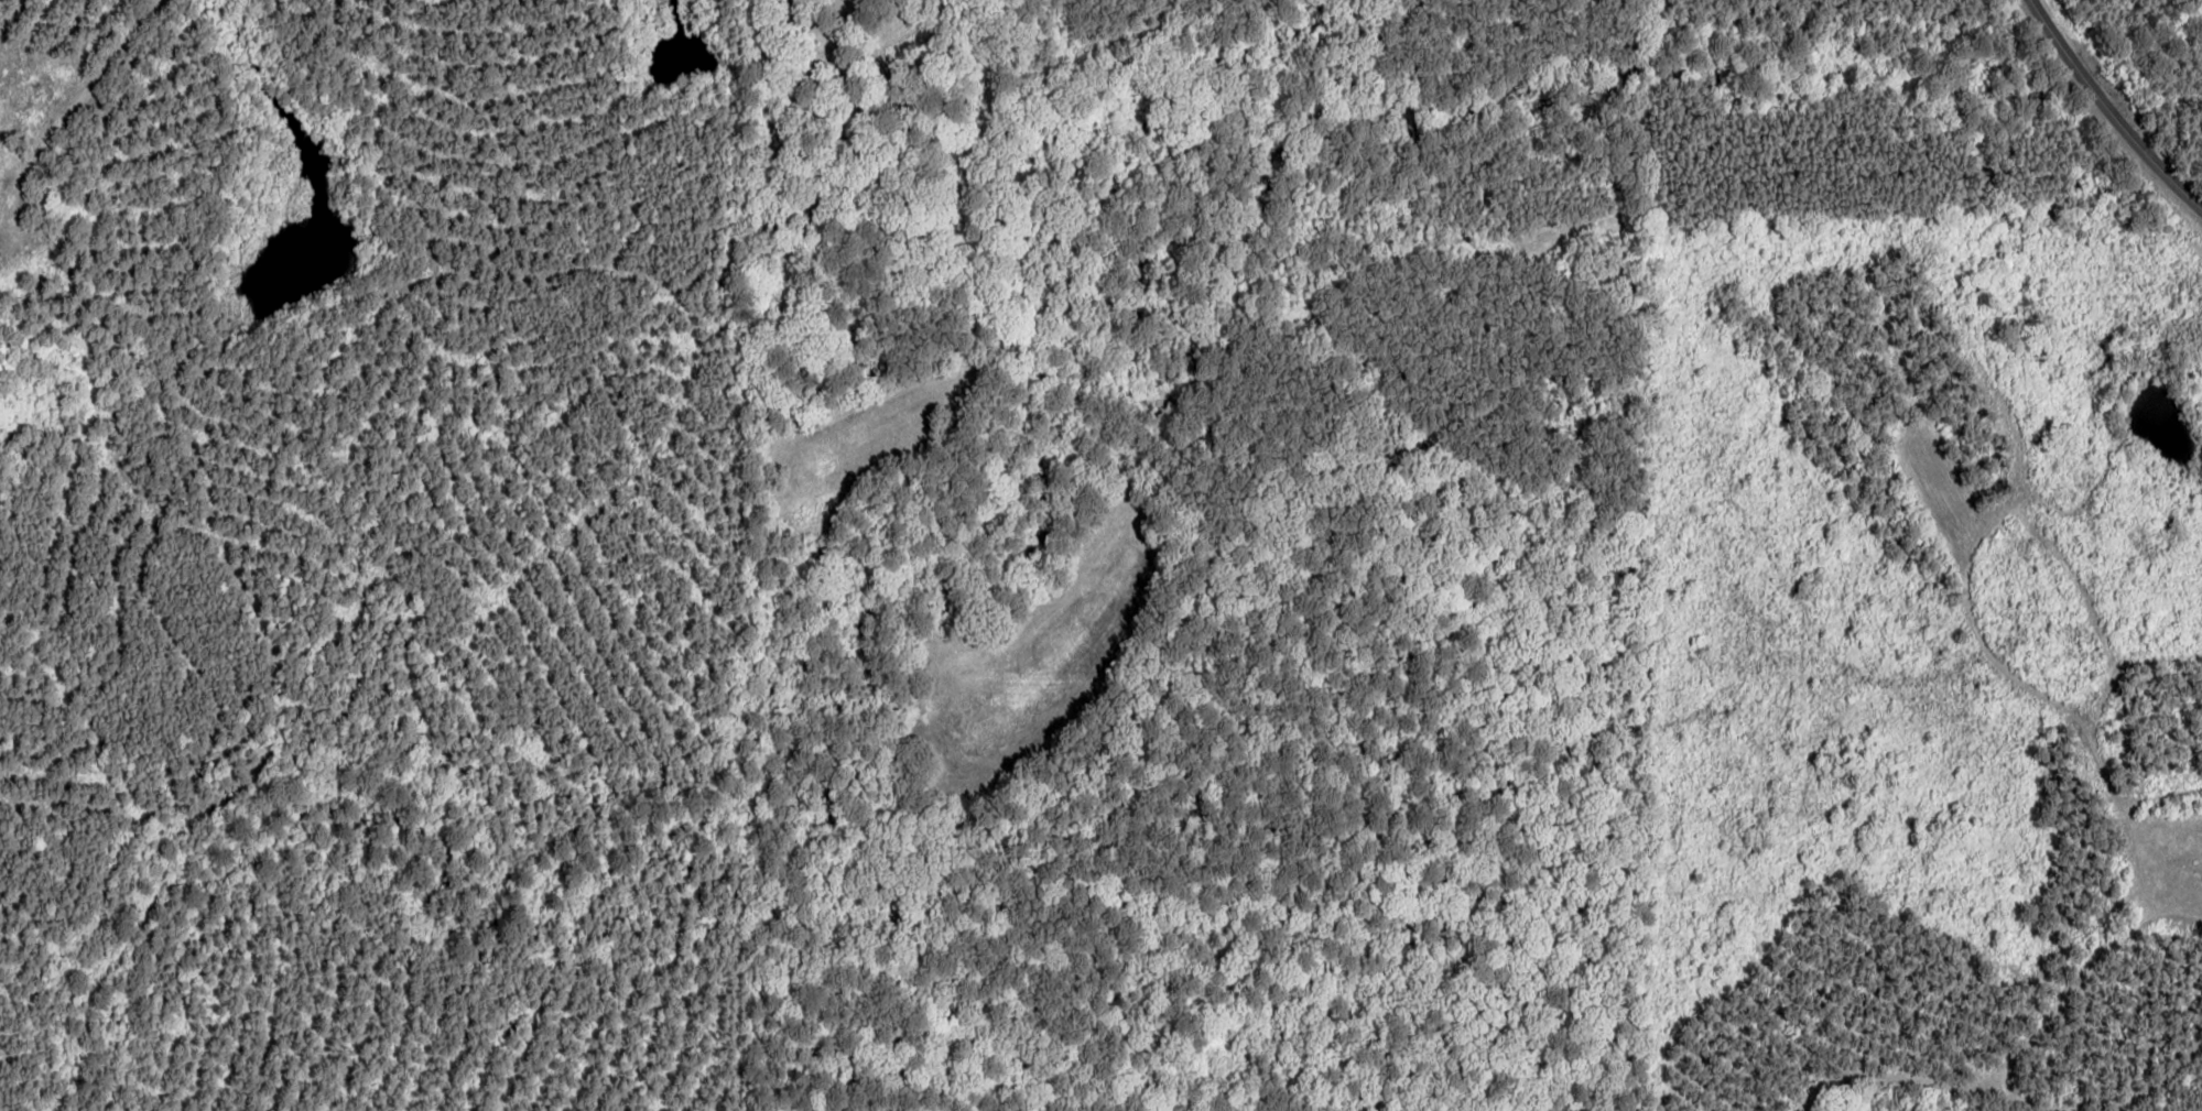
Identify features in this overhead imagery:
road: (2100, 118)

